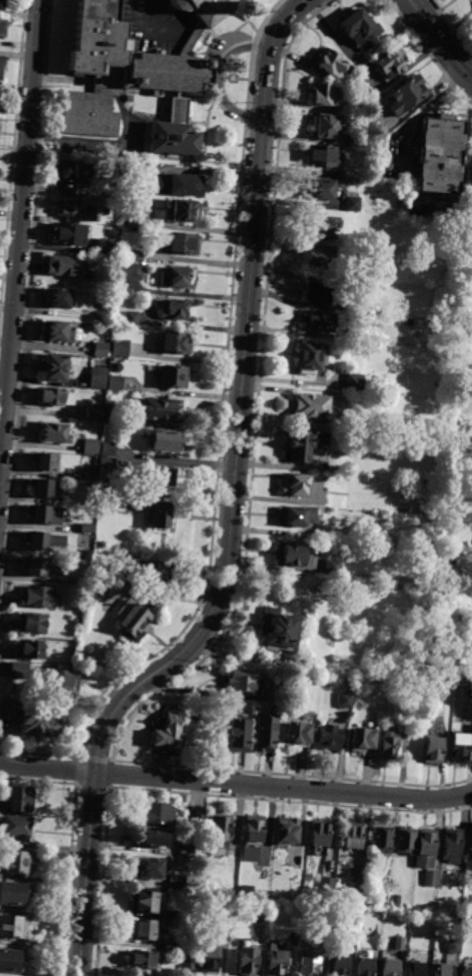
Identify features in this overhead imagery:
building: (4, 2)
building: (210, 8)
parking lot: (155, 26)
building: (3, 27)
building: (359, 29)
road: (193, 37)
road: (440, 40)
parking lot: (226, 41)
road: (429, 52)
building: (390, 64)
building: (334, 66)
building: (1, 67)
road: (221, 76)
building: (133, 82)
building: (0, 92)
building: (326, 95)
building: (406, 96)
building: (130, 98)
building: (325, 125)
building: (356, 139)
building: (440, 155)
building: (325, 156)
building: (73, 171)
building: (180, 184)
building: (471, 186)
building: (321, 188)
building: (118, 196)
building: (352, 204)
building: (76, 207)
building: (182, 210)
building: (131, 216)
building: (318, 225)
building: (68, 233)
road: (20, 239)
building: (184, 243)
building: (107, 248)
building: (135, 255)
building: (319, 257)
building: (66, 265)
building: (129, 271)
building: (175, 277)
building: (314, 293)
building: (59, 296)
building: (465, 298)
building: (175, 310)
building: (131, 318)
road: (26, 321)
building: (316, 322)
building: (57, 331)
building: (176, 343)
building: (120, 348)
building: (101, 349)
building: (308, 356)
building: (54, 367)
building: (173, 376)
building: (468, 376)
building: (97, 378)
building: (353, 382)
building: (114, 383)
road: (257, 396)
building: (54, 397)
building: (349, 397)
road: (224, 398)
building: (309, 406)
building: (112, 408)
building: (164, 408)
building: (94, 413)
building: (110, 419)
building: (55, 432)
building: (165, 440)
building: (302, 445)
building: (90, 446)
building: (108, 449)
building: (44, 461)
building: (107, 462)
building: (91, 476)
building: (164, 476)
building: (105, 485)
building: (294, 485)
building: (42, 487)
building: (104, 498)
building: (92, 503)
road: (232, 507)
building: (45, 514)
building: (161, 516)
building: (295, 516)
building: (449, 524)
building: (87, 528)
building: (44, 540)
building: (458, 552)
building: (290, 553)
building: (84, 554)
building: (38, 566)
building: (331, 567)
building: (156, 571)
building: (99, 580)
building: (453, 582)
building: (86, 583)
building: (96, 595)
building: (38, 597)
building: (133, 620)
building: (79, 621)
building: (33, 622)
building: (466, 624)
building: (277, 631)
building: (32, 650)
building: (20, 670)
building: (63, 680)
building: (244, 681)
building: (467, 693)
building: (343, 700)
building: (8, 709)
building: (408, 715)
building: (39, 722)
building: (266, 733)
building: (299, 734)
building: (168, 735)
building: (237, 736)
building: (328, 739)
building: (362, 740)
building: (388, 744)
building: (457, 746)
building: (432, 750)
road: (38, 753)
road: (47, 768)
road: (262, 771)
road: (442, 784)
road: (283, 788)
building: (19, 800)
building: (158, 814)
building: (199, 817)
building: (17, 829)
building: (220, 829)
building: (253, 829)
building: (288, 831)
building: (319, 835)
building: (352, 836)
building: (154, 838)
building: (382, 839)
building: (405, 841)
building: (471, 841)
building: (452, 846)
building: (425, 849)
building: (186, 851)
building: (251, 855)
building: (17, 861)
building: (150, 870)
building: (361, 877)
building: (430, 878)
building: (176, 882)
building: (326, 884)
building: (461, 884)
building: (14, 894)
building: (262, 894)
building: (381, 900)
building: (395, 901)
building: (145, 903)
building: (467, 910)
building: (259, 911)
building: (381, 913)
building: (171, 915)
building: (416, 917)
building: (471, 920)
building: (13, 927)
building: (146, 931)
building: (225, 934)
building: (293, 939)
building: (398, 943)
building: (171, 946)
building: (453, 947)
building: (141, 960)
building: (209, 960)
building: (11, 961)
building: (247, 962)
building: (188, 963)
building: (276, 964)
building: (309, 964)
building: (340, 966)
building: (364, 967)
building: (390, 968)
building: (415, 969)
building: (443, 970)
building: (466, 971)

